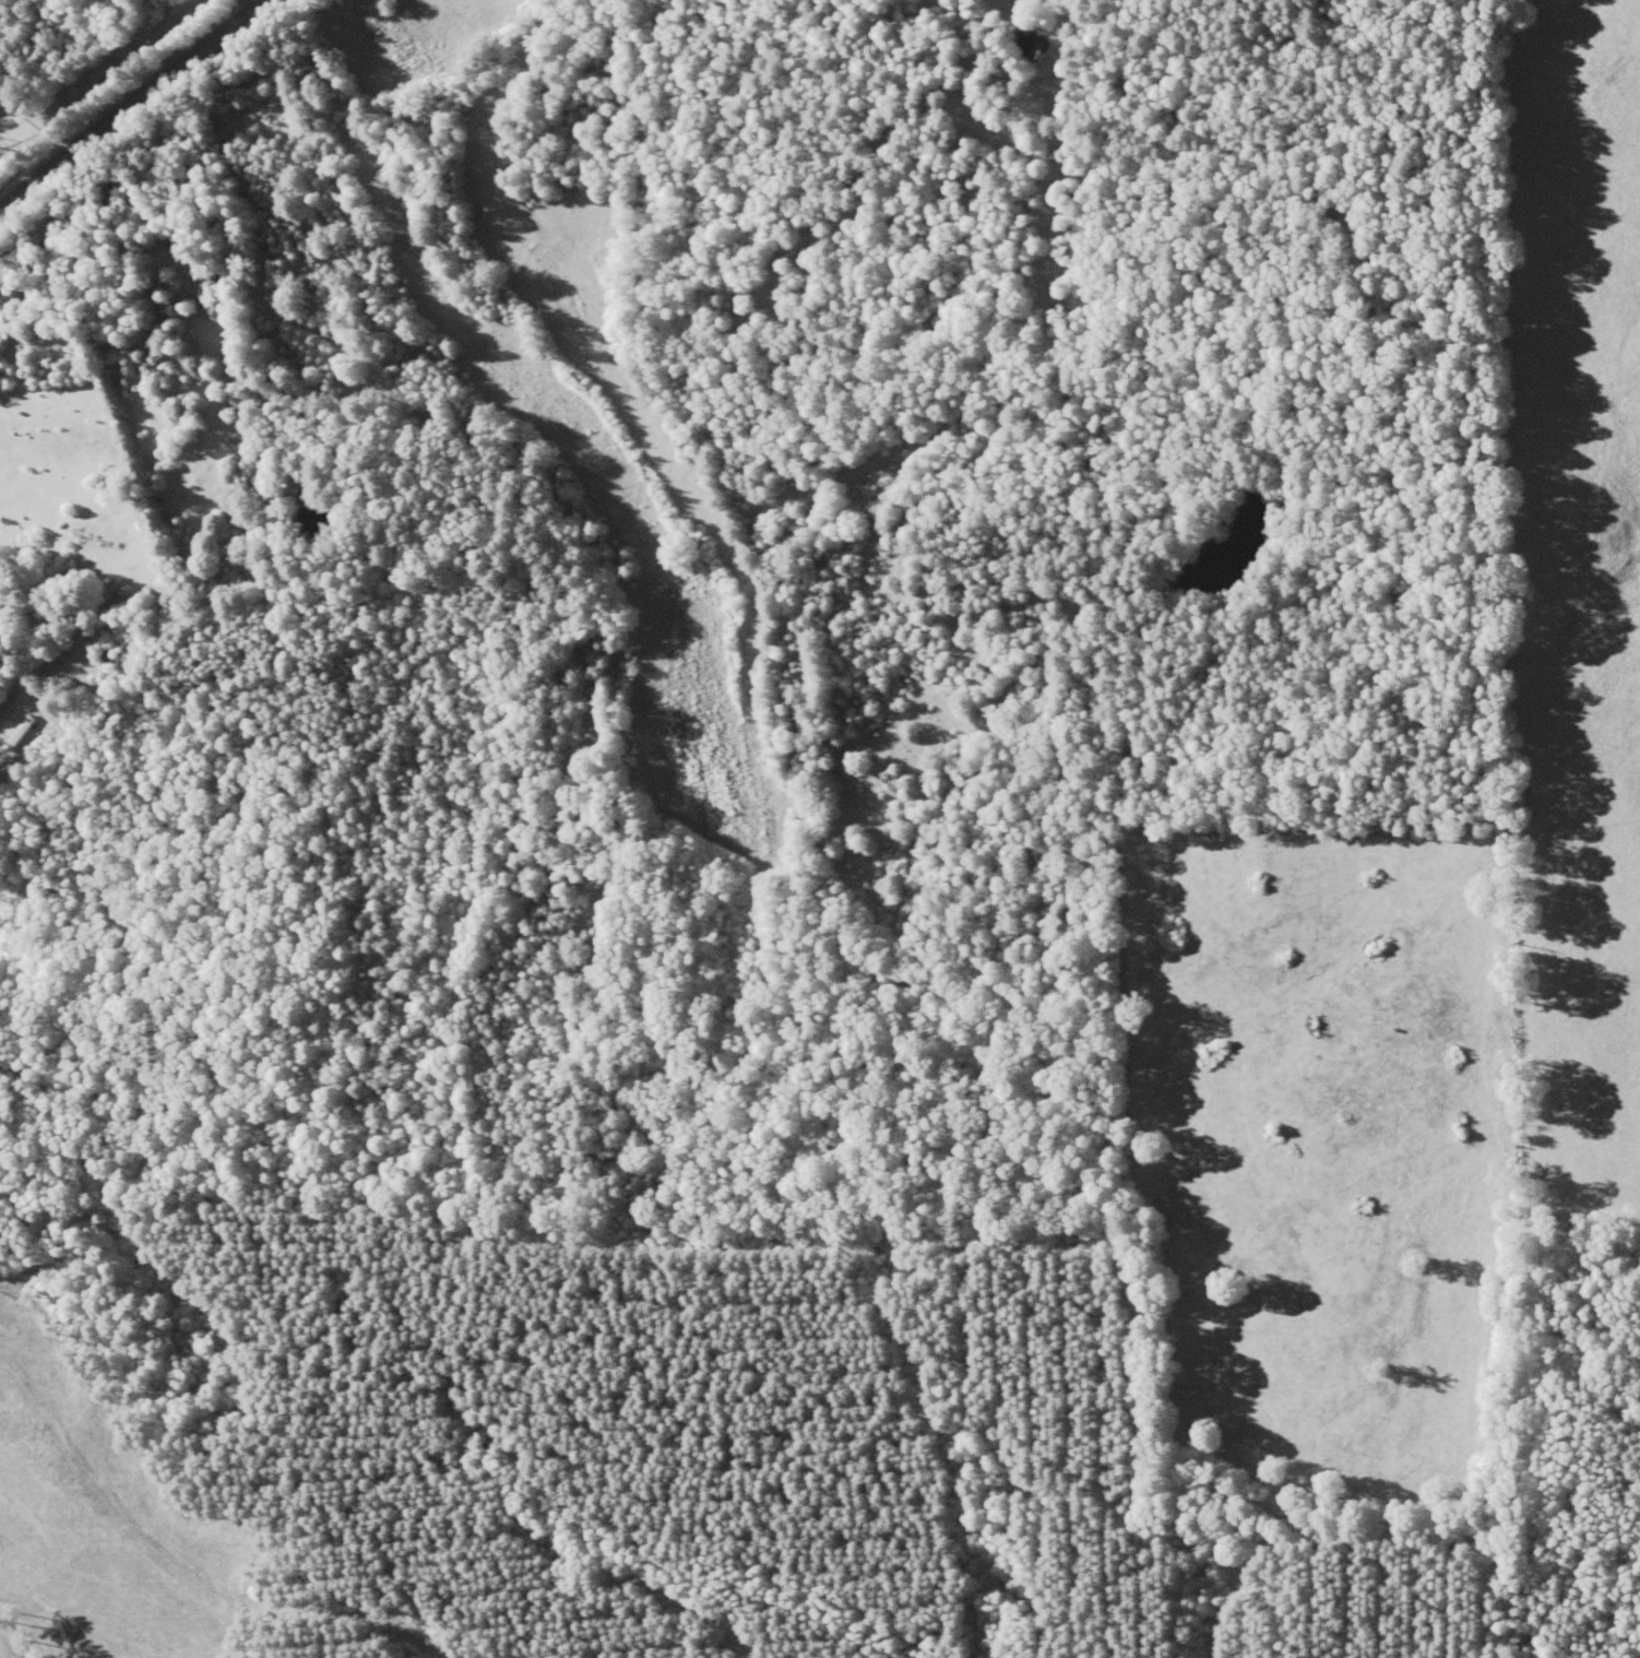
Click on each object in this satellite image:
road: (121, 97)
building: (108, 654)
building: (24, 732)
road: (407, 1348)

